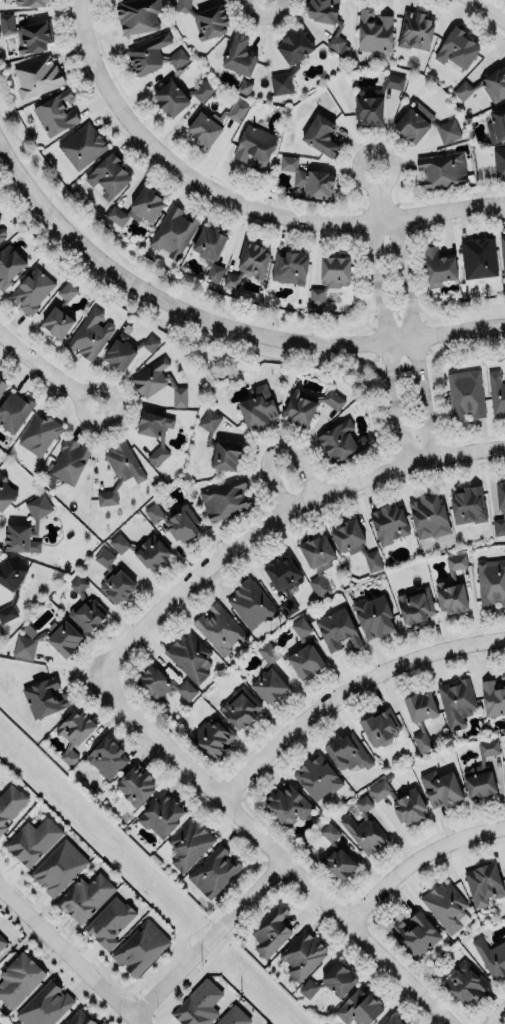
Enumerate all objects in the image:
building: (28, 3)
road: (492, 8)
building: (137, 15)
building: (205, 19)
building: (325, 19)
building: (27, 30)
building: (414, 30)
building: (374, 31)
building: (457, 49)
building: (153, 55)
building: (239, 56)
building: (289, 60)
building: (36, 75)
building: (484, 86)
building: (244, 87)
building: (178, 96)
building: (373, 100)
building: (54, 112)
building: (213, 123)
building: (496, 125)
building: (424, 127)
building: (320, 136)
building: (82, 143)
building: (255, 147)
building: (499, 163)
building: (439, 171)
building: (110, 172)
building: (307, 178)
road: (376, 191)
road: (239, 200)
building: (138, 205)
building: (0, 220)
building: (173, 230)
building: (2, 234)
building: (210, 239)
building: (502, 255)
building: (478, 257)
building: (246, 264)
building: (9, 265)
building: (437, 265)
building: (288, 266)
building: (211, 271)
building: (329, 277)
road: (185, 287)
building: (31, 290)
road: (466, 311)
building: (60, 313)
road: (219, 322)
road: (397, 328)
road: (414, 328)
building: (90, 334)
road: (382, 336)
road: (424, 339)
road: (376, 345)
road: (469, 345)
building: (125, 351)
road: (47, 369)
building: (157, 382)
building: (2, 386)
building: (496, 393)
building: (465, 395)
building: (308, 406)
building: (257, 407)
building: (14, 411)
road: (439, 426)
building: (154, 432)
building: (39, 434)
building: (340, 442)
road: (271, 443)
building: (217, 445)
building: (69, 461)
building: (120, 470)
building: (6, 493)
building: (225, 499)
building: (468, 504)
building: (499, 507)
road: (276, 513)
building: (428, 514)
building: (175, 521)
building: (388, 521)
building: (20, 540)
building: (353, 544)
building: (141, 548)
building: (317, 561)
building: (283, 575)
building: (112, 578)
building: (491, 581)
building: (10, 585)
building: (452, 586)
building: (251, 603)
building: (415, 603)
building: (85, 608)
building: (372, 616)
building: (219, 628)
building: (336, 629)
building: (46, 639)
building: (303, 651)
building: (189, 656)
building: (266, 674)
building: (162, 685)
road: (346, 686)
building: (493, 695)
building: (44, 697)
building: (455, 702)
building: (239, 707)
building: (417, 715)
building: (379, 728)
building: (74, 732)
building: (212, 736)
building: (346, 752)
building: (106, 756)
building: (480, 773)
building: (316, 777)
building: (135, 785)
building: (439, 788)
building: (399, 802)
building: (10, 804)
building: (287, 804)
building: (161, 815)
building: (363, 826)
building: (32, 840)
building: (187, 844)
road: (273, 848)
building: (333, 854)
road: (416, 857)
building: (57, 865)
building: (213, 871)
building: (483, 882)
building: (85, 895)
building: (444, 905)
building: (109, 921)
building: (270, 930)
building: (415, 932)
road: (207, 936)
building: (2, 941)
building: (140, 948)
building: (302, 954)
road: (70, 956)
building: (491, 956)
building: (18, 978)
building: (328, 978)
building: (464, 980)
building: (44, 1004)
building: (197, 1004)
building: (359, 1006)
road: (493, 1012)
building: (79, 1017)
building: (233, 1017)
building: (393, 1020)
building: (61, 1023)

